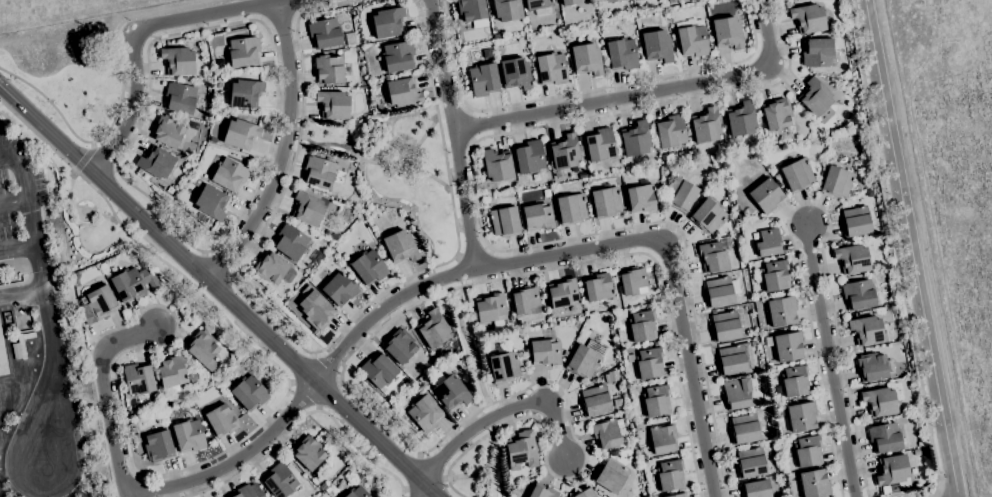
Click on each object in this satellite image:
building: (610, 1)
building: (672, 1)
building: (571, 2)
road: (324, 5)
building: (539, 7)
building: (507, 9)
building: (631, 10)
building: (472, 12)
road: (207, 14)
road: (279, 18)
building: (807, 19)
building: (388, 22)
road: (204, 29)
building: (325, 33)
building: (727, 33)
building: (496, 36)
building: (691, 38)
building: (657, 46)
building: (243, 52)
building: (817, 52)
building: (621, 54)
road: (453, 56)
building: (398, 57)
building: (586, 59)
building: (177, 60)
building: (551, 68)
building: (329, 69)
building: (516, 73)
park: (72, 74)
building: (217, 77)
building: (483, 79)
road: (638, 80)
building: (219, 85)
building: (403, 92)
building: (245, 93)
road: (647, 93)
building: (180, 97)
building: (378, 99)
building: (816, 100)
building: (333, 105)
road: (132, 106)
building: (378, 107)
building: (777, 114)
building: (741, 119)
building: (706, 125)
road: (439, 127)
building: (168, 131)
building: (670, 131)
building: (240, 134)
road: (454, 135)
building: (635, 139)
building: (213, 140)
road: (96, 141)
building: (600, 144)
road: (282, 151)
building: (564, 152)
road: (83, 156)
road: (6, 157)
building: (529, 157)
building: (664, 157)
building: (679, 158)
building: (406, 160)
building: (156, 162)
building: (497, 164)
building: (319, 172)
park: (402, 173)
building: (229, 175)
building: (797, 175)
building: (777, 177)
building: (711, 179)
building: (195, 181)
building: (837, 182)
building: (869, 193)
building: (680, 194)
building: (766, 195)
building: (641, 198)
building: (606, 202)
road: (16, 203)
building: (211, 203)
road: (808, 204)
building: (308, 209)
building: (571, 209)
building: (333, 211)
building: (707, 216)
building: (538, 217)
building: (504, 222)
building: (855, 222)
park: (92, 226)
road: (482, 229)
building: (333, 236)
building: (290, 242)
building: (768, 242)
building: (400, 247)
road: (597, 247)
road: (911, 248)
building: (355, 249)
road: (896, 249)
road: (20, 250)
building: (713, 257)
building: (852, 259)
road: (218, 263)
building: (368, 267)
building: (274, 269)
building: (772, 276)
building: (633, 280)
road: (234, 281)
building: (151, 283)
building: (128, 285)
building: (598, 286)
building: (339, 288)
building: (720, 291)
road: (219, 292)
building: (562, 293)
building: (858, 295)
building: (525, 300)
building: (101, 302)
road: (45, 308)
building: (490, 309)
building: (316, 310)
building: (782, 311)
building: (642, 326)
building: (725, 326)
building: (433, 329)
building: (866, 330)
road: (94, 339)
building: (399, 346)
building: (788, 346)
road: (471, 347)
building: (203, 349)
building: (544, 352)
building: (565, 353)
building: (233, 354)
building: (3, 357)
building: (585, 359)
building: (731, 360)
road: (830, 360)
building: (649, 363)
building: (504, 364)
road: (326, 365)
building: (871, 367)
road: (301, 368)
building: (378, 371)
building: (174, 374)
building: (611, 376)
building: (138, 379)
road: (341, 380)
building: (794, 381)
building: (407, 383)
building: (450, 391)
building: (249, 392)
road: (328, 392)
building: (737, 393)
road: (105, 394)
road: (303, 396)
building: (656, 400)
building: (595, 401)
building: (618, 402)
building: (879, 402)
building: (393, 408)
road: (504, 411)
building: (425, 413)
road: (268, 415)
building: (801, 416)
building: (222, 419)
road: (300, 419)
building: (134, 429)
building: (744, 429)
building: (606, 433)
building: (189, 435)
building: (885, 437)
building: (662, 439)
building: (159, 446)
building: (522, 451)
building: (807, 451)
building: (309, 452)
building: (916, 452)
building: (614, 453)
building: (642, 456)
road: (234, 460)
building: (750, 463)
building: (892, 471)
building: (670, 475)
building: (610, 476)
building: (280, 481)
building: (814, 483)
road: (139, 484)
building: (322, 486)
road: (420, 489)
building: (755, 489)
building: (327, 490)
building: (542, 491)
building: (243, 492)
building: (357, 492)
road: (408, 493)
building: (585, 493)
building: (679, 495)
road: (935, 496)

